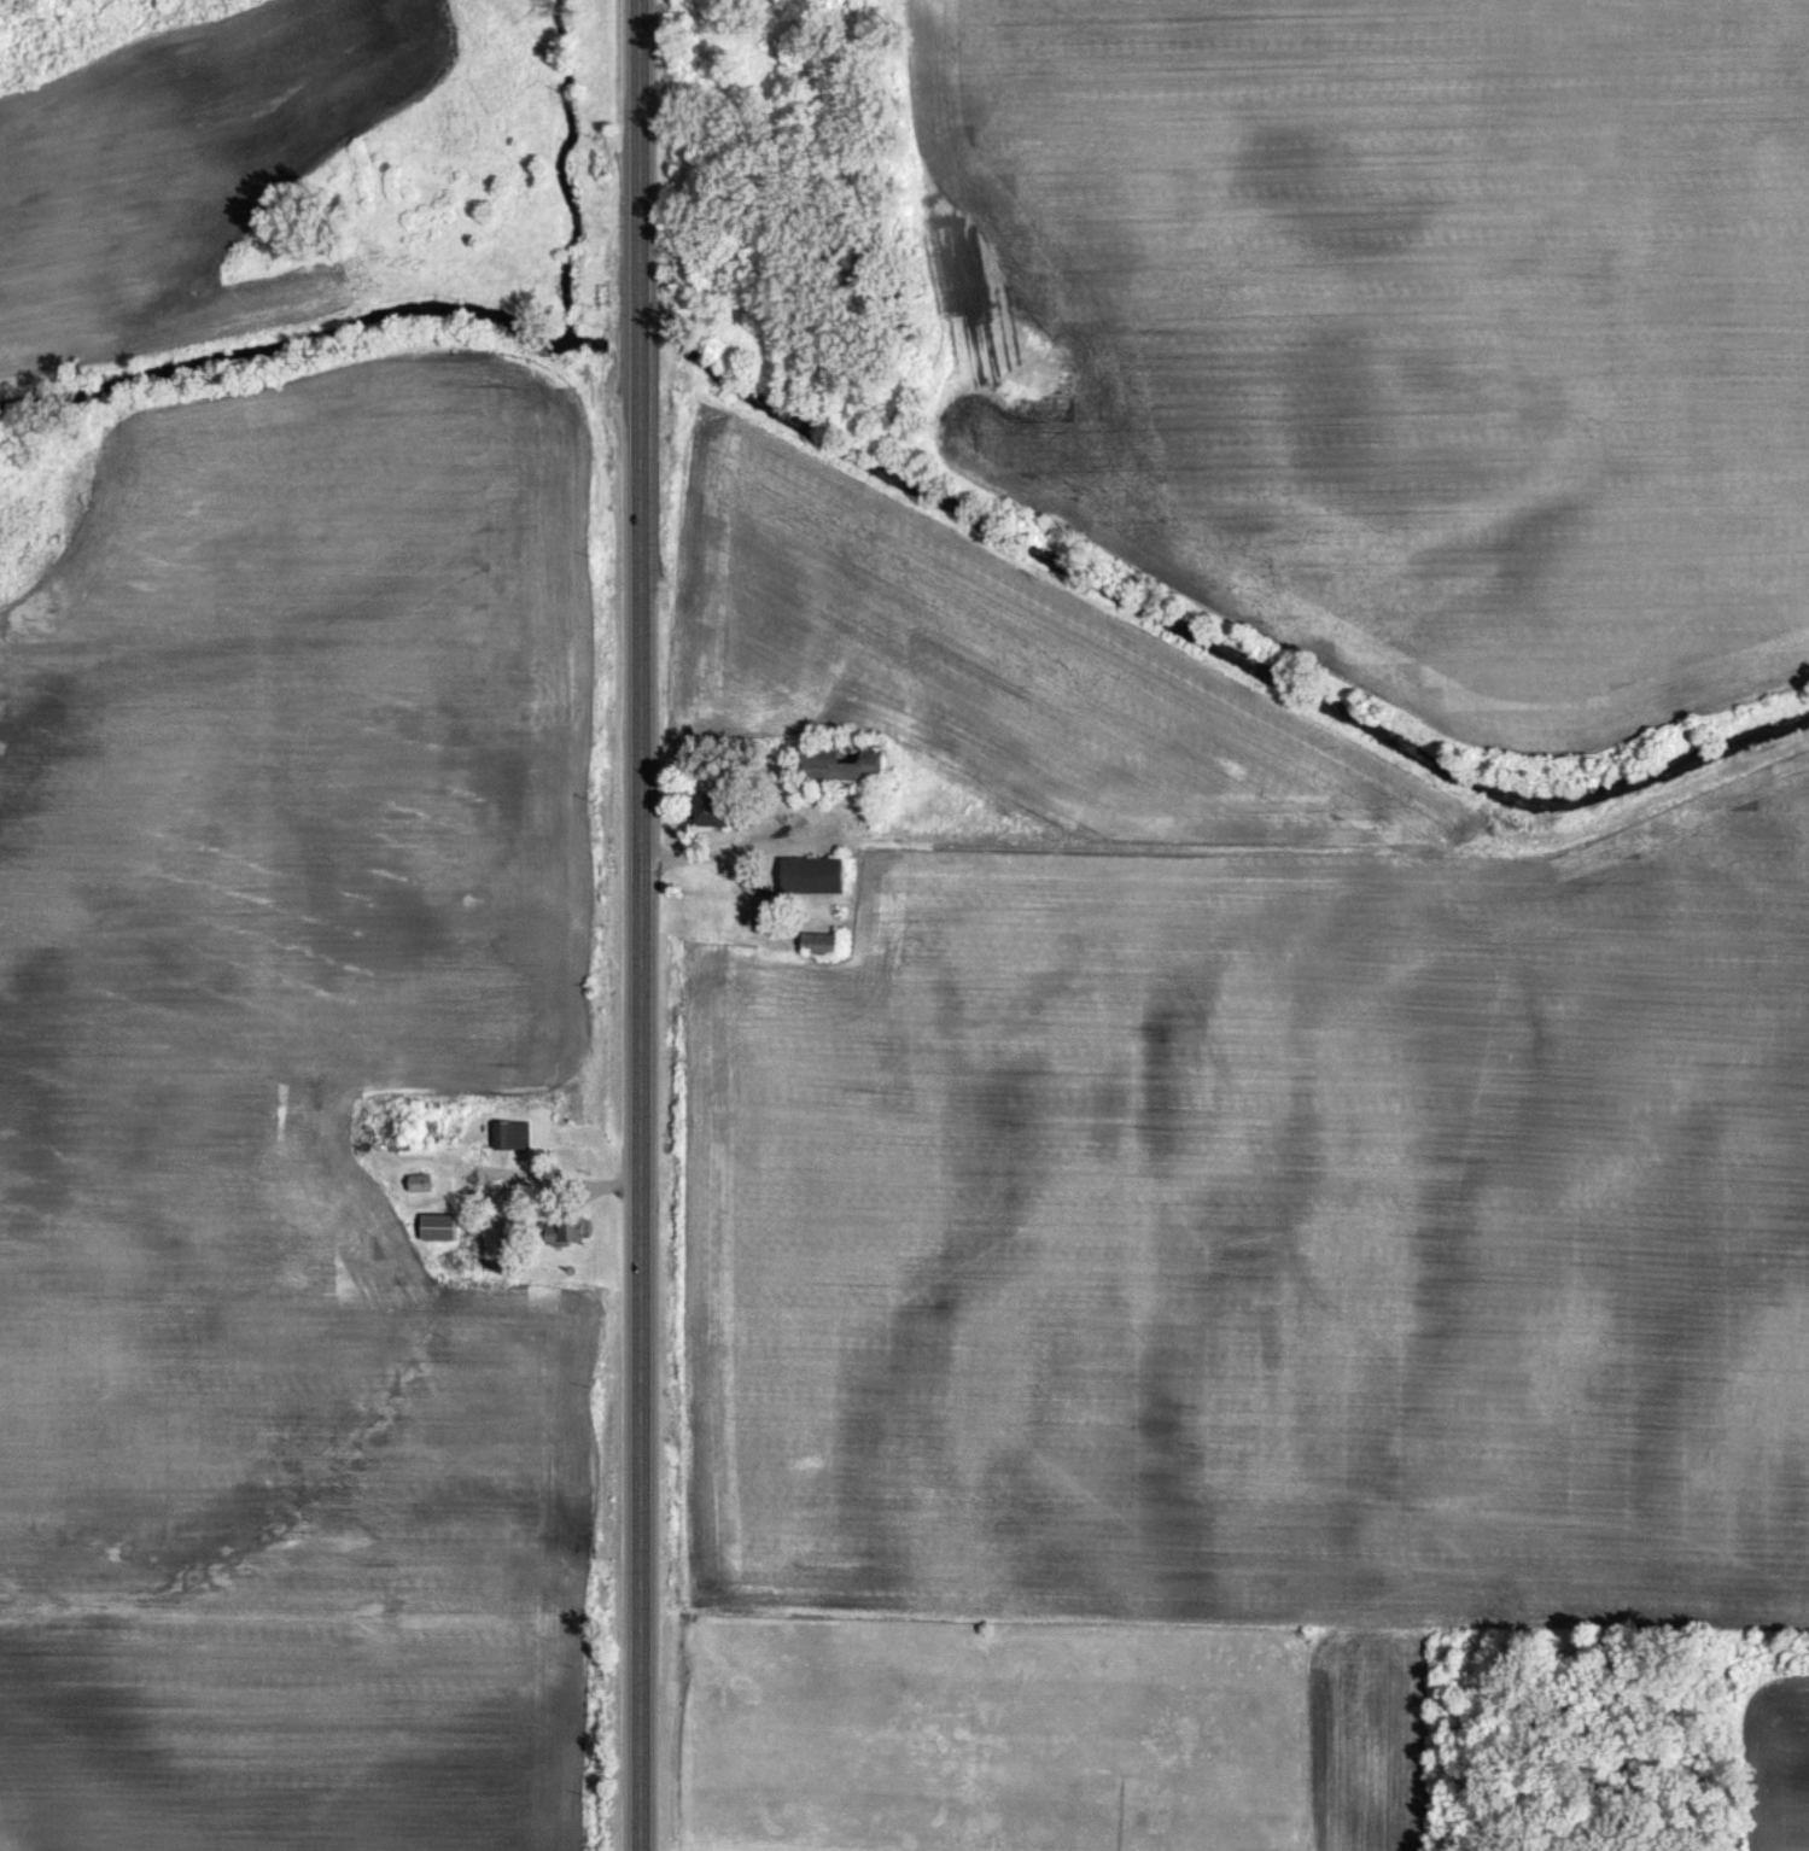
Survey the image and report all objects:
building: (712, 810)
building: (817, 876)
road: (638, 924)
building: (822, 944)
building: (506, 1135)
building: (422, 1183)
building: (442, 1228)

